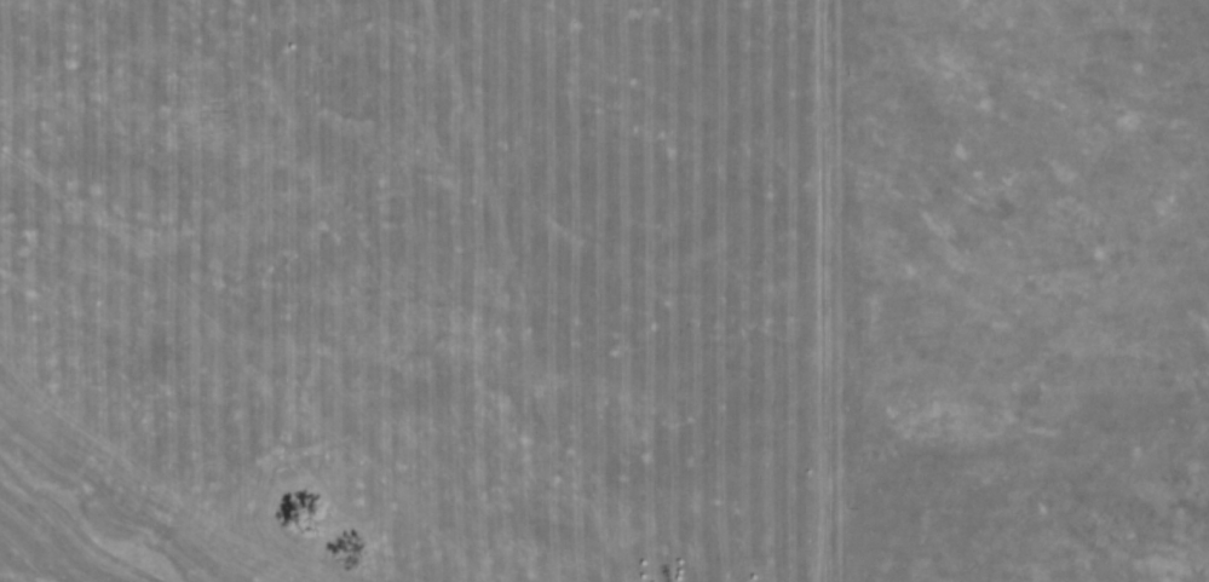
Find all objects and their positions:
road: (830, 290)

